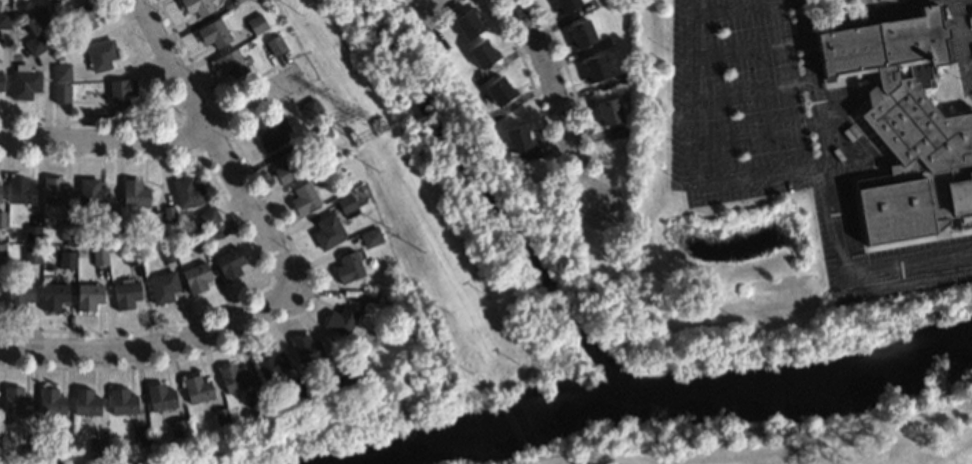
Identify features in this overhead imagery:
building: (237, 1)
road: (437, 5)
building: (565, 5)
building: (196, 6)
building: (83, 16)
building: (40, 17)
building: (4, 19)
building: (468, 23)
building: (257, 24)
road: (960, 31)
building: (213, 33)
building: (581, 34)
road: (966, 36)
building: (59, 42)
building: (35, 45)
building: (275, 45)
building: (482, 54)
building: (100, 55)
building: (230, 64)
building: (595, 69)
building: (61, 72)
road: (967, 75)
building: (1, 82)
building: (24, 82)
building: (499, 91)
road: (688, 91)
building: (120, 92)
building: (60, 94)
road: (558, 103)
building: (310, 109)
building: (608, 112)
building: (904, 127)
building: (270, 134)
building: (323, 134)
building: (517, 139)
road: (217, 142)
road: (150, 146)
power tower: (374, 149)
building: (287, 168)
building: (323, 172)
road: (761, 179)
building: (20, 191)
building: (55, 191)
building: (187, 192)
building: (134, 193)
building: (91, 194)
building: (0, 195)
building: (304, 198)
road: (833, 201)
building: (346, 204)
building: (169, 214)
building: (207, 217)
building: (2, 220)
building: (109, 224)
building: (66, 230)
building: (328, 232)
building: (1, 234)
building: (32, 234)
building: (211, 234)
building: (162, 235)
building: (370, 237)
building: (198, 244)
building: (166, 253)
building: (2, 254)
building: (31, 255)
building: (132, 256)
building: (99, 257)
building: (66, 259)
building: (229, 263)
building: (348, 268)
building: (195, 277)
building: (161, 287)
building: (125, 293)
building: (18, 295)
building: (53, 295)
building: (88, 297)
building: (370, 297)
building: (386, 299)
building: (340, 321)
road: (152, 346)
park: (735, 348)
building: (306, 352)
building: (269, 363)
building: (346, 374)
building: (232, 378)
river: (653, 385)
building: (299, 387)
building: (196, 390)
building: (159, 397)
building: (16, 401)
building: (51, 401)
building: (122, 402)
building: (258, 402)
building: (85, 403)
building: (221, 416)
park: (317, 421)
building: (179, 428)
park: (789, 431)
building: (139, 437)
building: (97, 450)
building: (61, 454)
building: (27, 456)
park: (473, 462)

